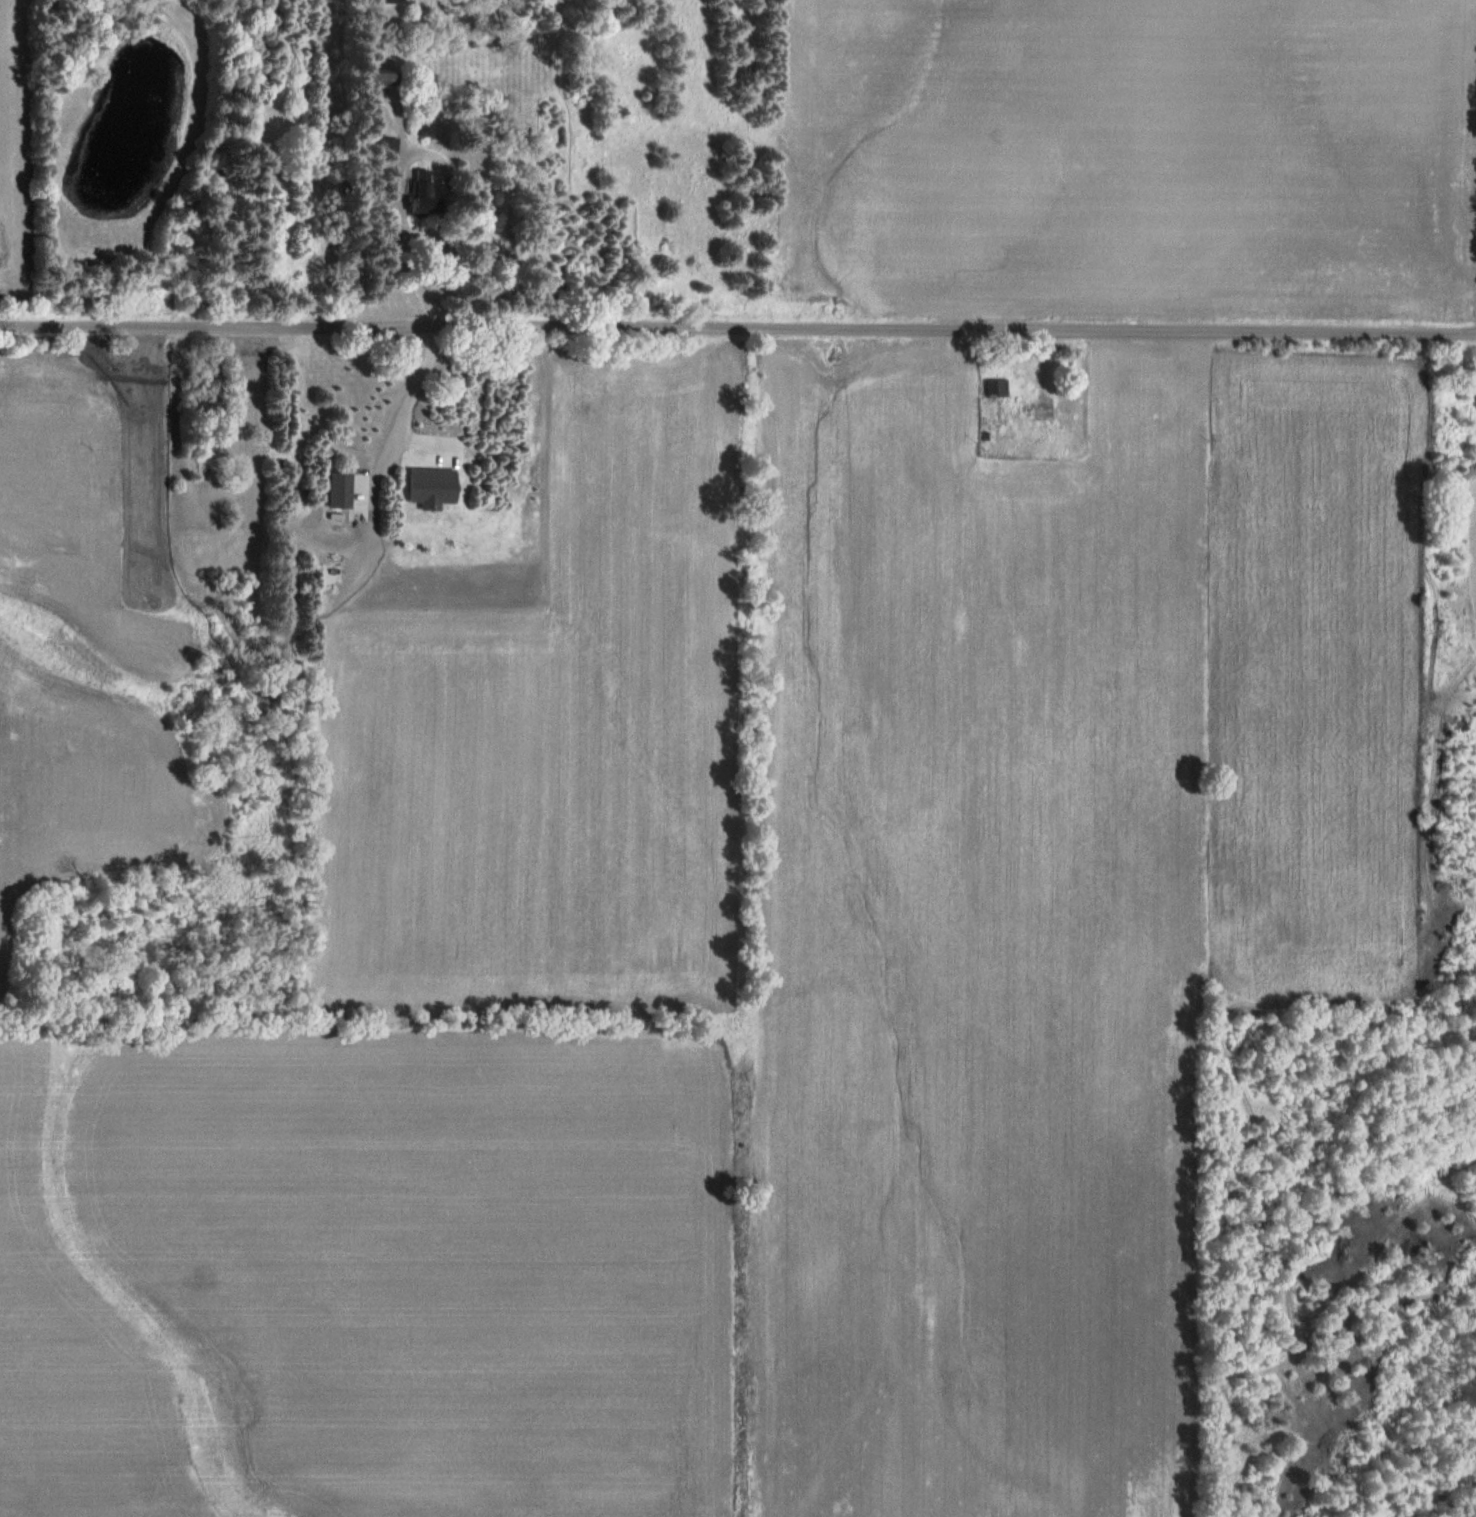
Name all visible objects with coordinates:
building: (398, 2)
building: (379, 78)
building: (425, 131)
building: (387, 153)
building: (421, 191)
road: (408, 241)
road: (738, 328)
building: (996, 389)
road: (419, 400)
building: (1043, 412)

